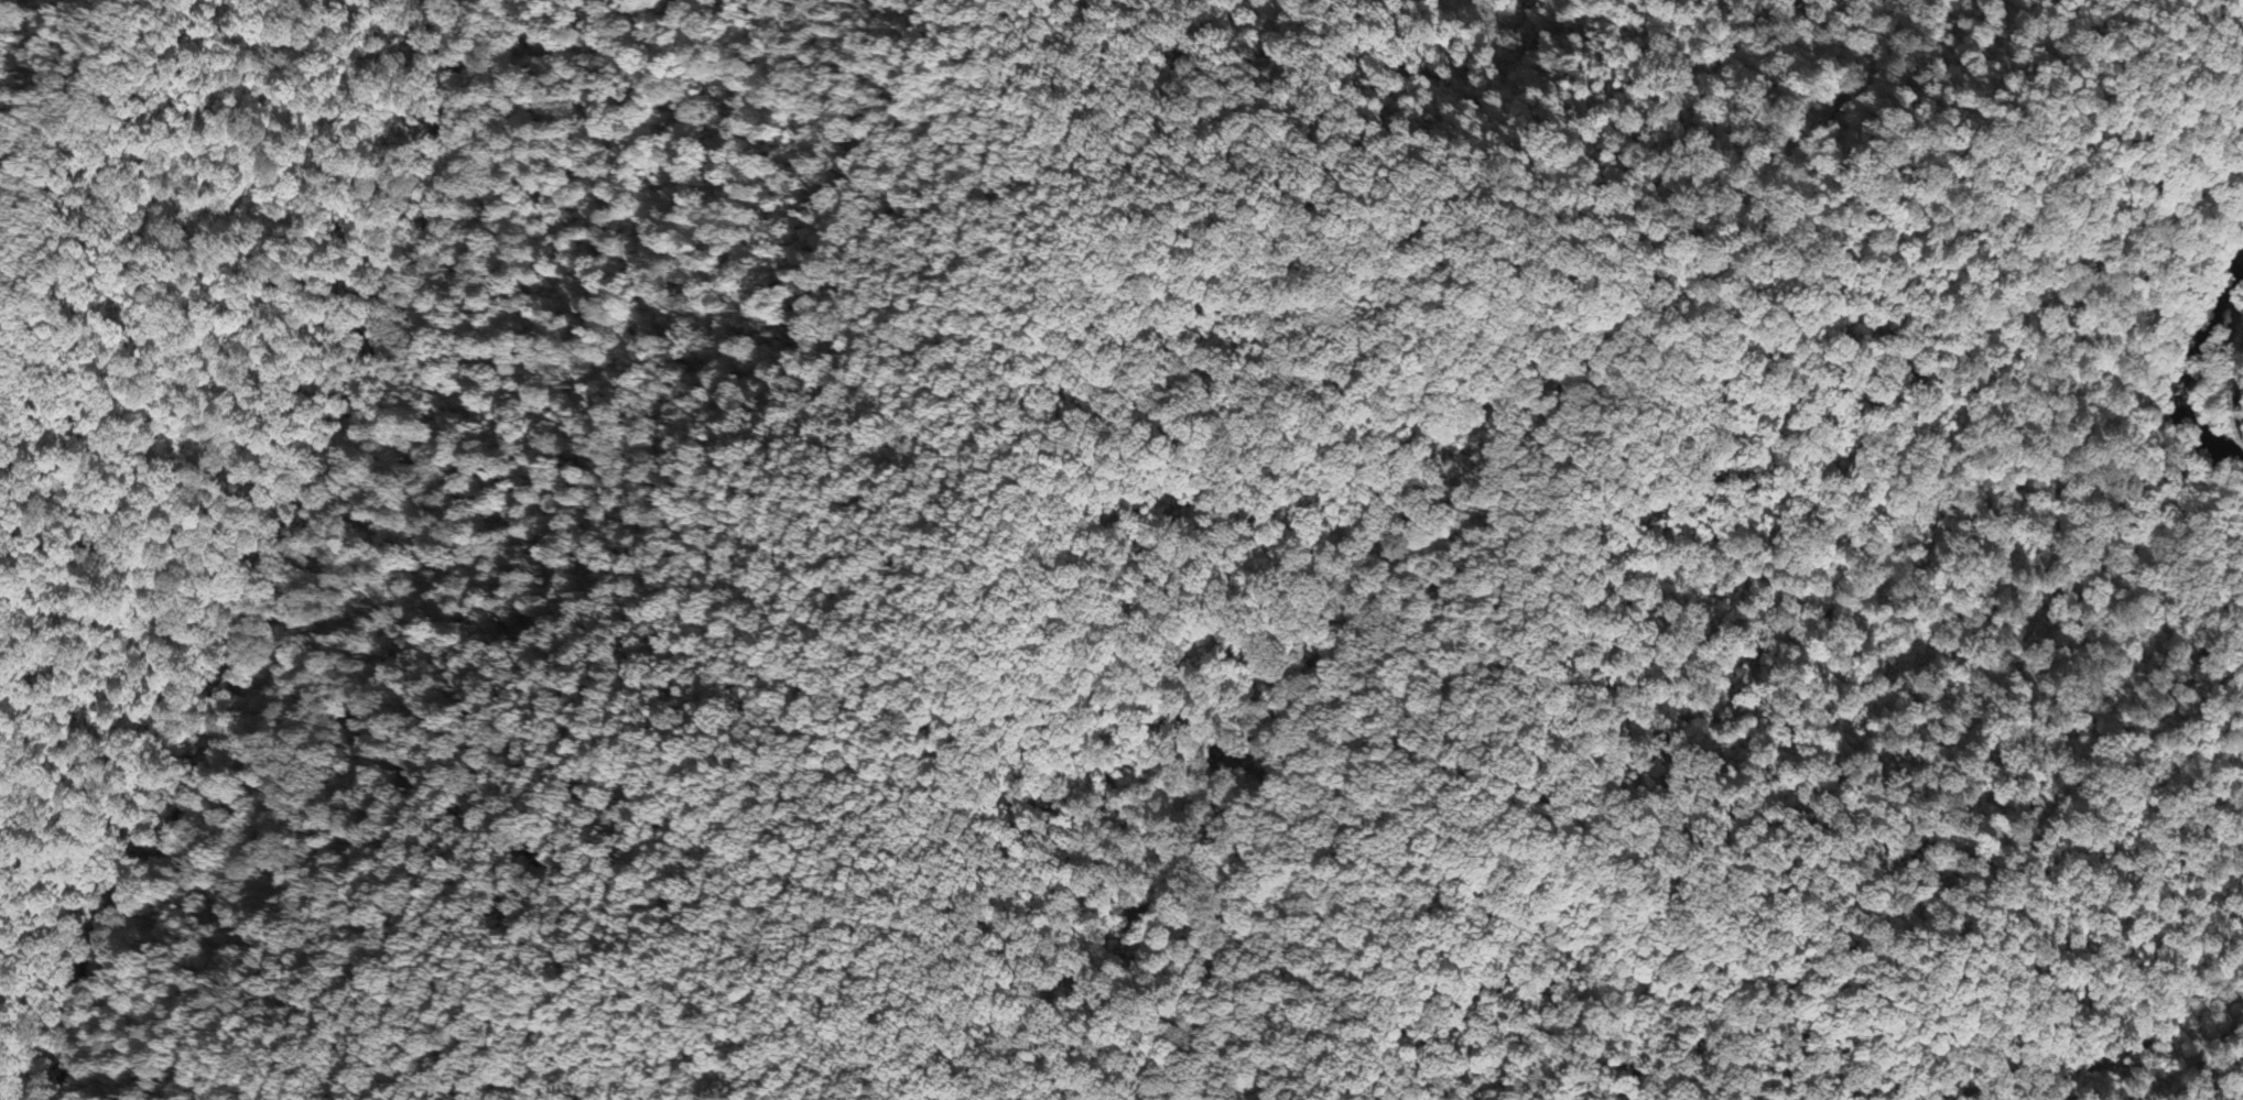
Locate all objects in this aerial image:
river: (2189, 350)
road: (2237, 399)

